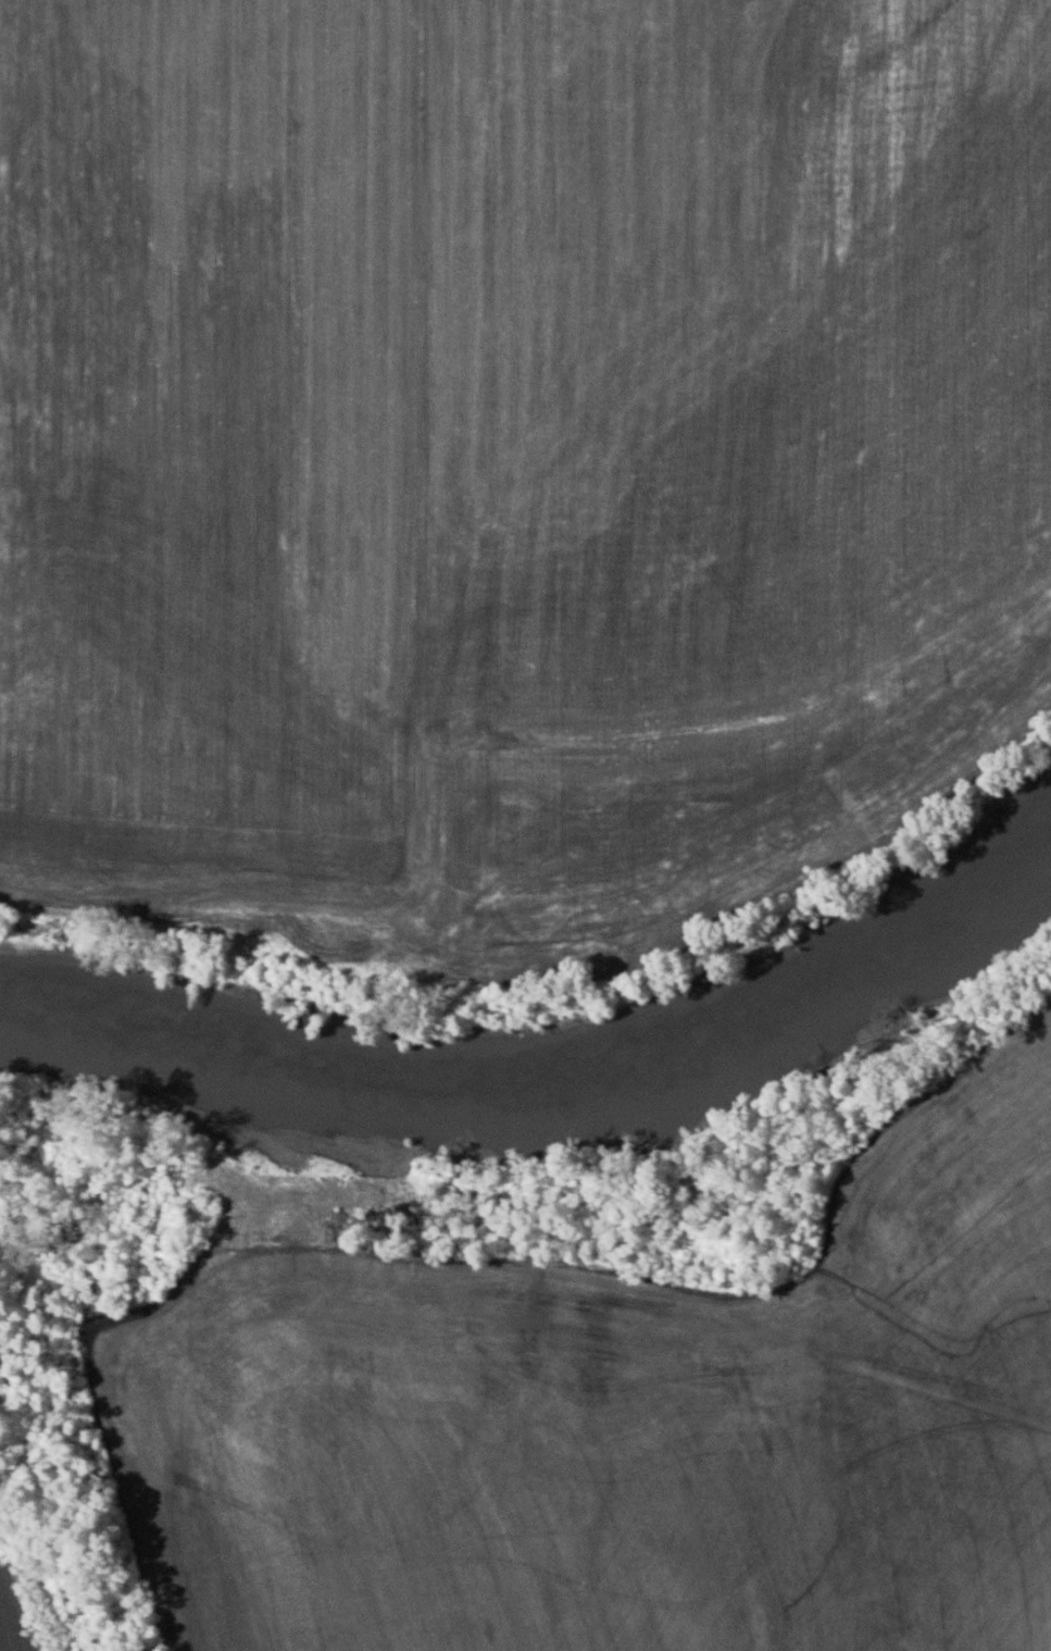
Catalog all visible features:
river: (554, 1070)

